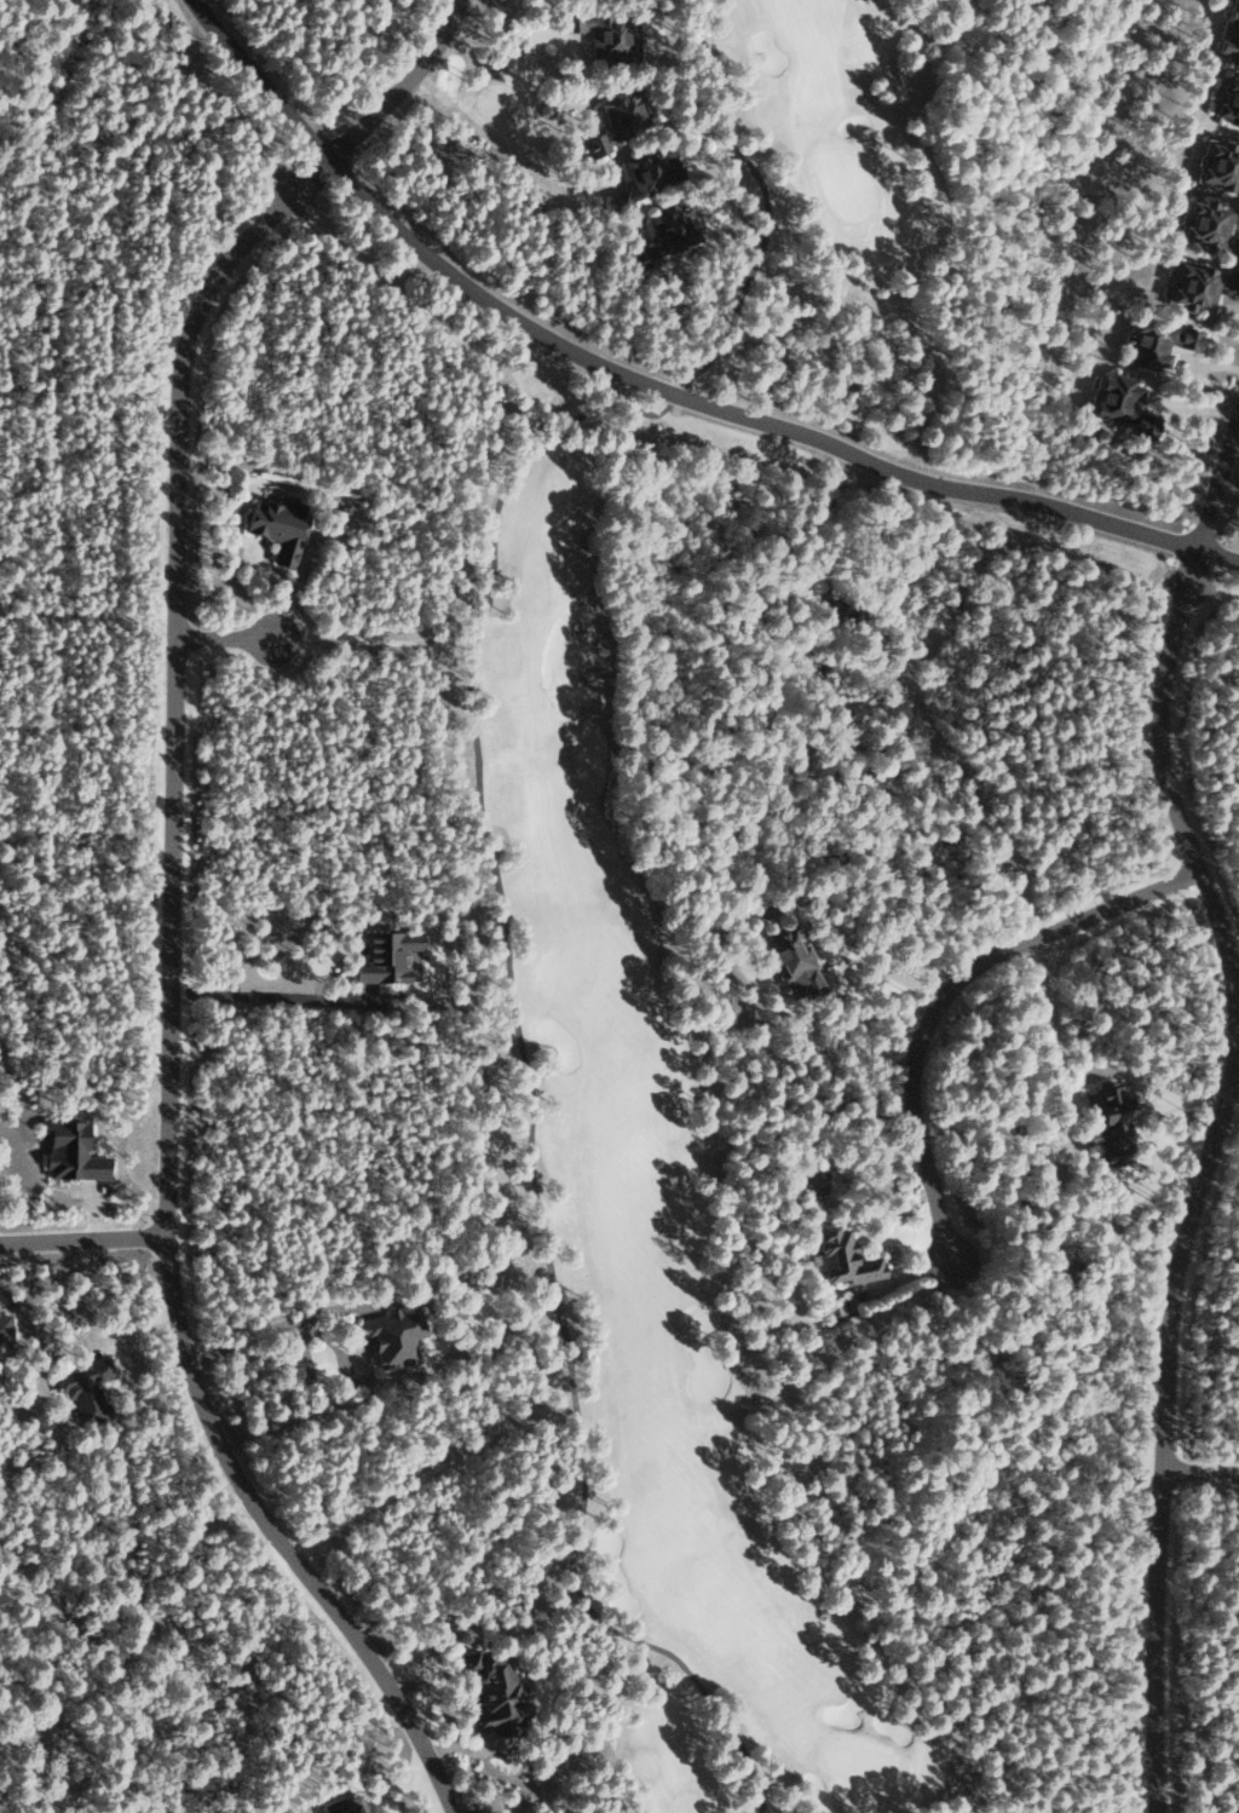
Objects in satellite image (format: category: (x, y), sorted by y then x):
building: (600, 31)
building: (1228, 31)
road: (503, 54)
road: (397, 87)
building: (1228, 102)
building: (616, 120)
building: (1218, 166)
building: (644, 173)
building: (1208, 226)
building: (664, 234)
building: (1198, 284)
building: (1156, 343)
road: (650, 386)
building: (1120, 404)
road: (1214, 480)
building: (276, 526)
road: (221, 639)
building: (382, 957)
building: (794, 966)
park: (680, 985)
road: (940, 991)
road: (166, 998)
building: (1113, 1138)
building: (69, 1151)
road: (1194, 1175)
road: (82, 1238)
building: (842, 1257)
building: (5, 1328)
building: (391, 1336)
building: (82, 1388)
road: (1195, 1472)
building: (491, 1691)
building: (345, 1805)

